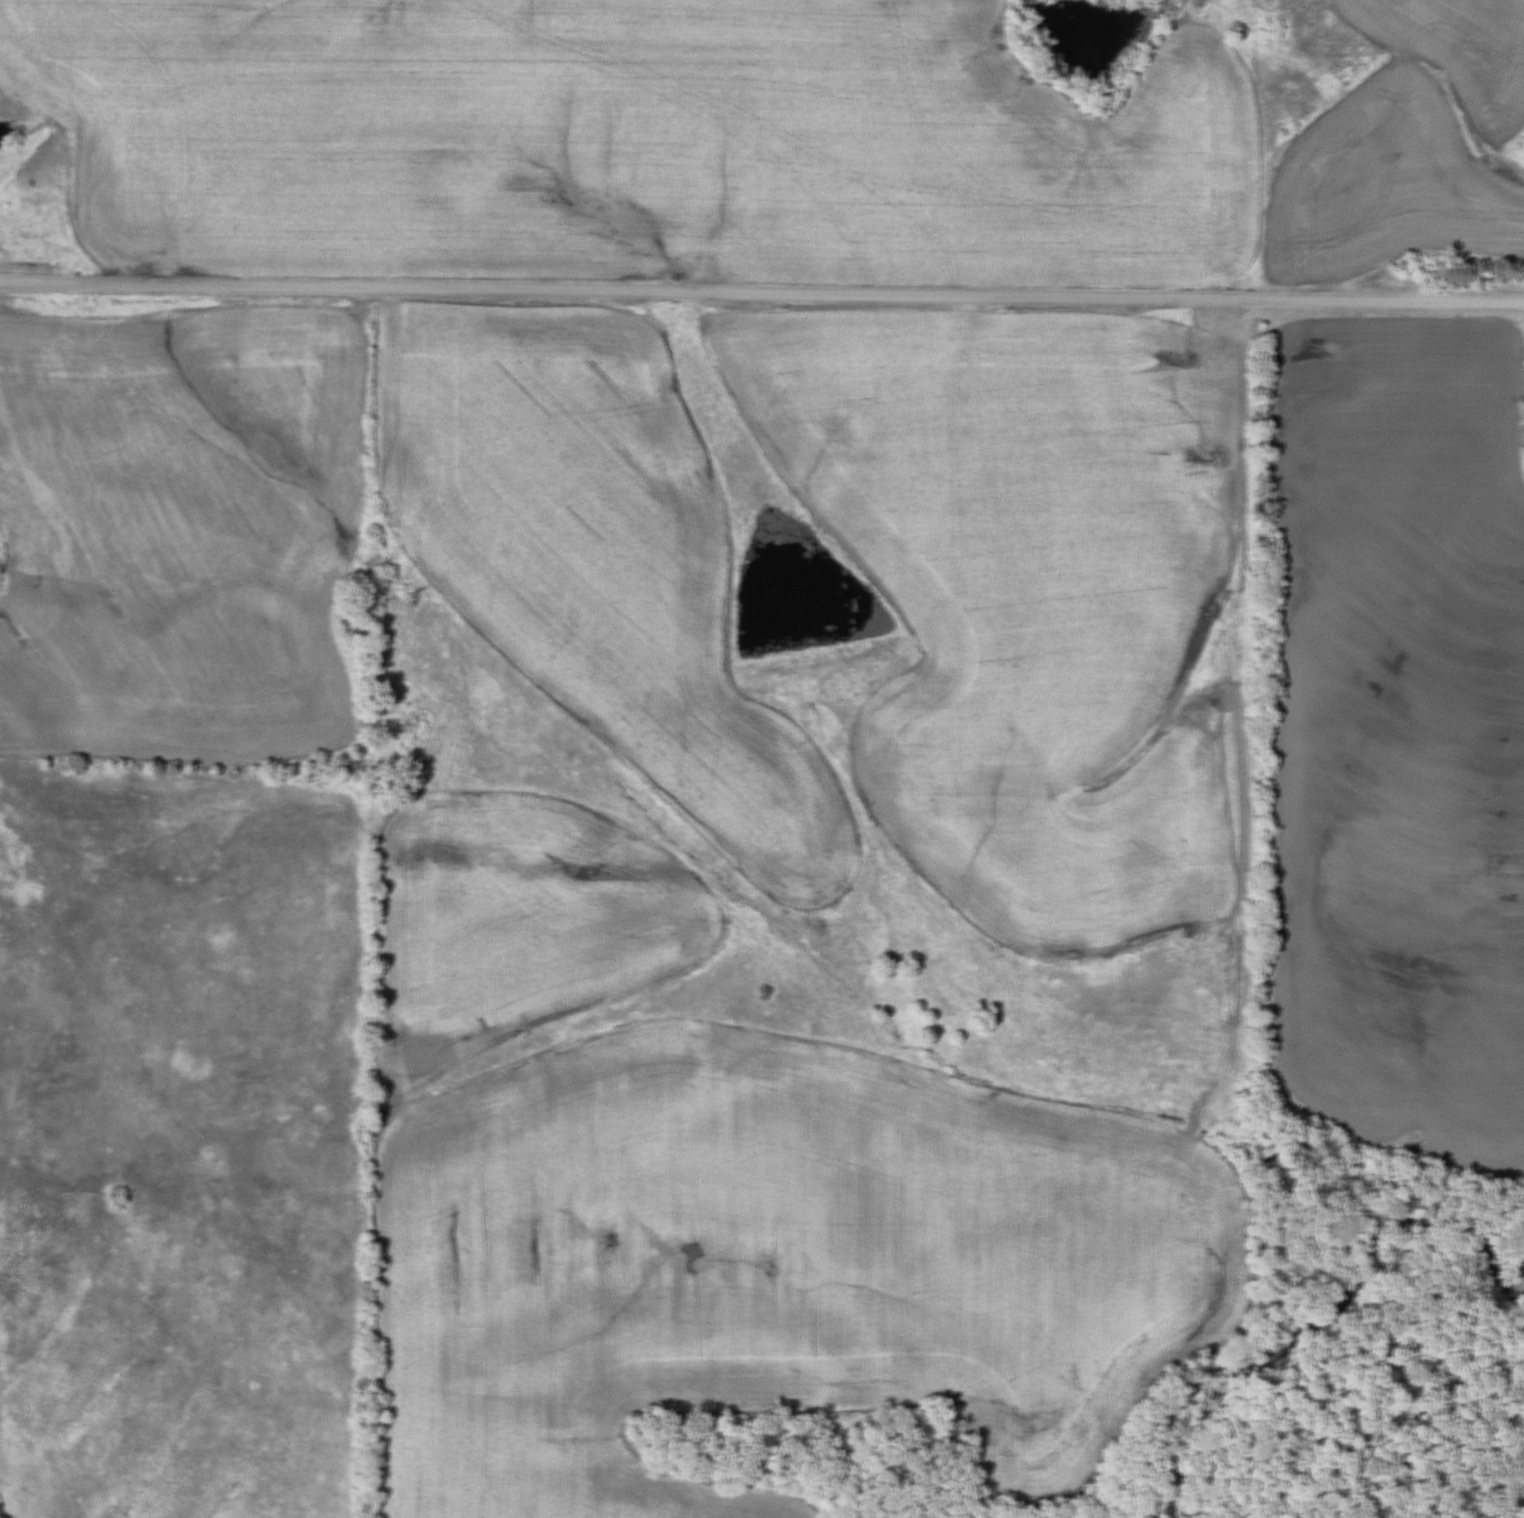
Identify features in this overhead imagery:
road: (761, 293)

